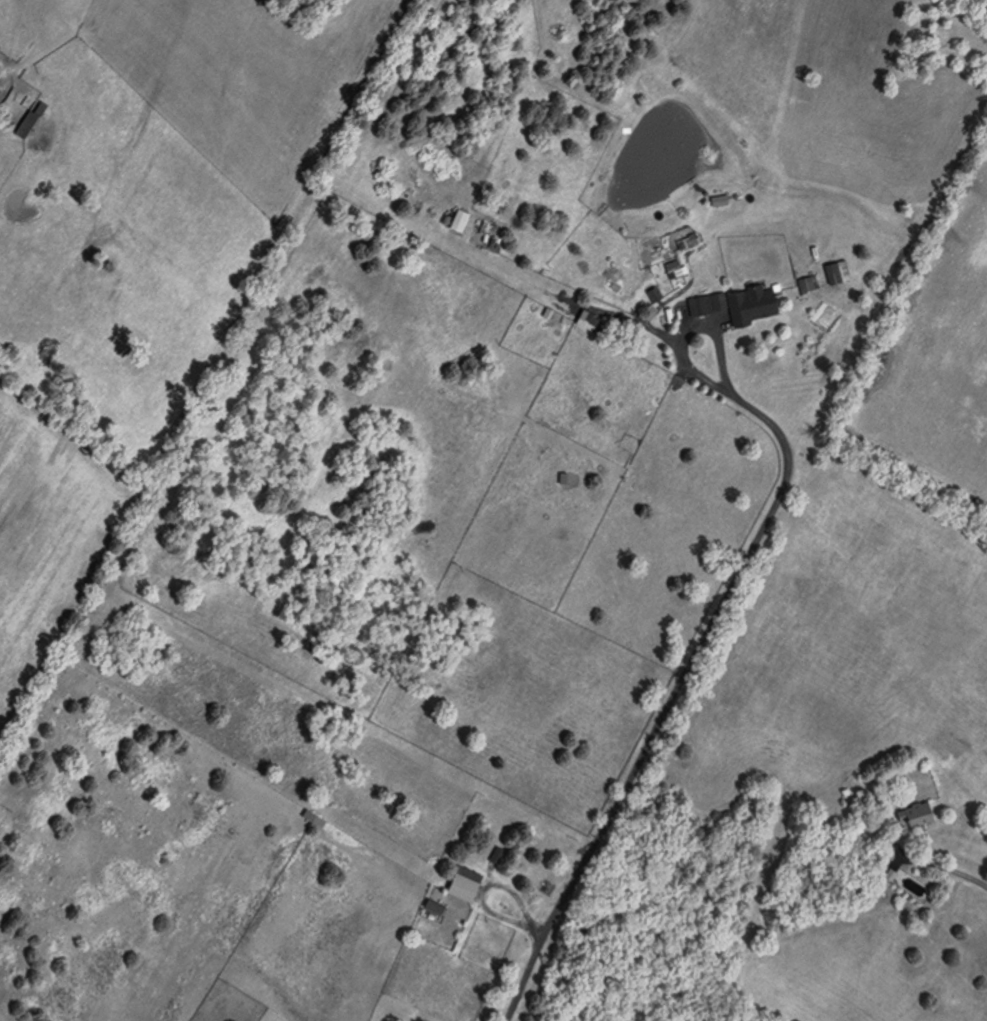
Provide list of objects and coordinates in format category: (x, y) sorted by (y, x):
road: (643, 324)
road: (693, 328)
road: (676, 697)
road: (968, 878)

